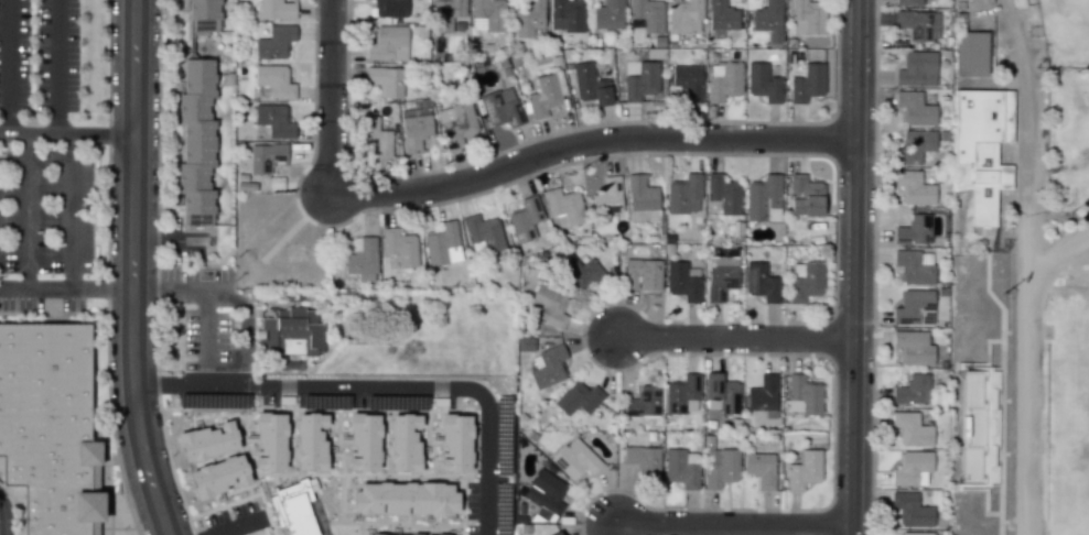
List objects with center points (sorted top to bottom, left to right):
building: (908, 2)
building: (389, 8)
building: (276, 10)
building: (445, 14)
building: (487, 14)
building: (608, 14)
building: (648, 14)
building: (809, 14)
building: (204, 15)
building: (567, 15)
building: (722, 15)
building: (527, 17)
building: (684, 17)
building: (768, 20)
building: (918, 24)
park: (1066, 32)
building: (274, 42)
building: (387, 44)
building: (970, 54)
road: (7, 67)
road: (60, 67)
building: (916, 69)
building: (386, 80)
building: (723, 80)
building: (641, 81)
building: (688, 81)
building: (763, 83)
building: (807, 84)
building: (590, 85)
building: (543, 97)
road: (328, 98)
road: (1026, 107)
building: (502, 108)
building: (915, 108)
building: (273, 120)
building: (457, 123)
street lamp: (574, 125)
building: (414, 128)
road: (3, 134)
road: (33, 134)
road: (96, 134)
building: (374, 137)
road: (587, 141)
building: (196, 142)
building: (914, 146)
building: (981, 149)
building: (265, 157)
building: (916, 187)
building: (724, 194)
building: (684, 195)
building: (805, 196)
building: (608, 198)
building: (641, 199)
building: (763, 199)
building: (563, 208)
road: (30, 211)
road: (73, 211)
building: (525, 219)
building: (914, 230)
building: (484, 232)
park: (274, 240)
building: (441, 244)
building: (399, 247)
building: (362, 259)
road: (853, 266)
building: (913, 267)
road: (132, 269)
building: (580, 273)
building: (641, 274)
building: (721, 276)
building: (683, 281)
building: (805, 281)
building: (762, 283)
road: (148, 291)
building: (549, 305)
building: (914, 307)
road: (246, 325)
street lamp: (875, 329)
building: (290, 334)
road: (733, 337)
building: (913, 347)
building: (549, 368)
track: (1050, 375)
road: (169, 382)
road: (395, 386)
building: (910, 390)
building: (722, 393)
building: (681, 394)
building: (763, 395)
building: (802, 395)
building: (578, 398)
building: (643, 402)
park: (1066, 402)
building: (47, 425)
building: (912, 429)
building: (208, 441)
building: (270, 441)
building: (311, 441)
building: (364, 441)
building: (405, 443)
building: (455, 443)
building: (575, 459)
building: (643, 460)
building: (681, 468)
building: (912, 468)
building: (721, 469)
building: (761, 469)
building: (804, 470)
building: (218, 476)
building: (546, 492)
building: (405, 499)
building: (910, 510)
building: (292, 511)
road: (485, 515)
road: (2, 518)
road: (239, 526)
road: (734, 527)
building: (557, 533)
building: (916, 533)
building: (417, 534)

